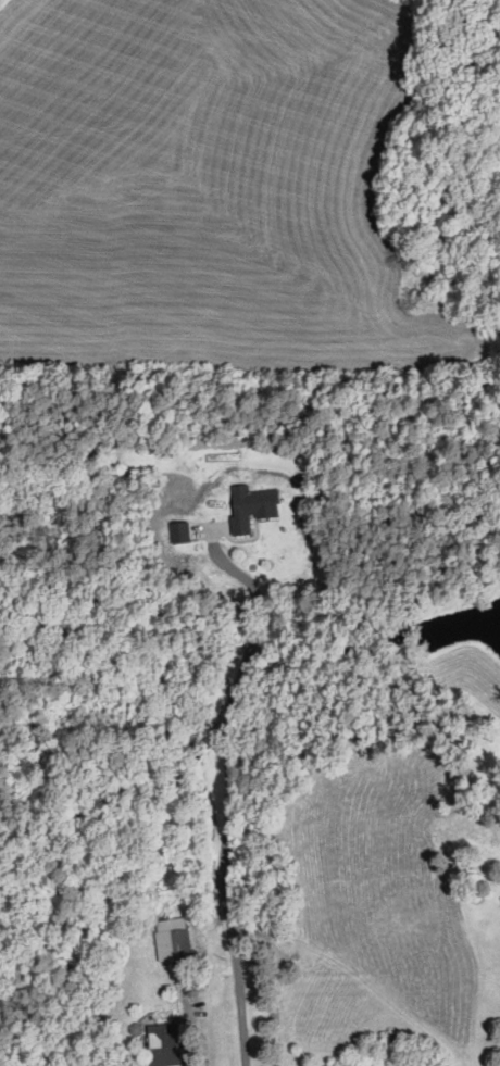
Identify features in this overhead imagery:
building: (250, 504)
building: (182, 531)
road: (230, 788)
building: (172, 938)
road: (188, 1028)
building: (164, 1043)

